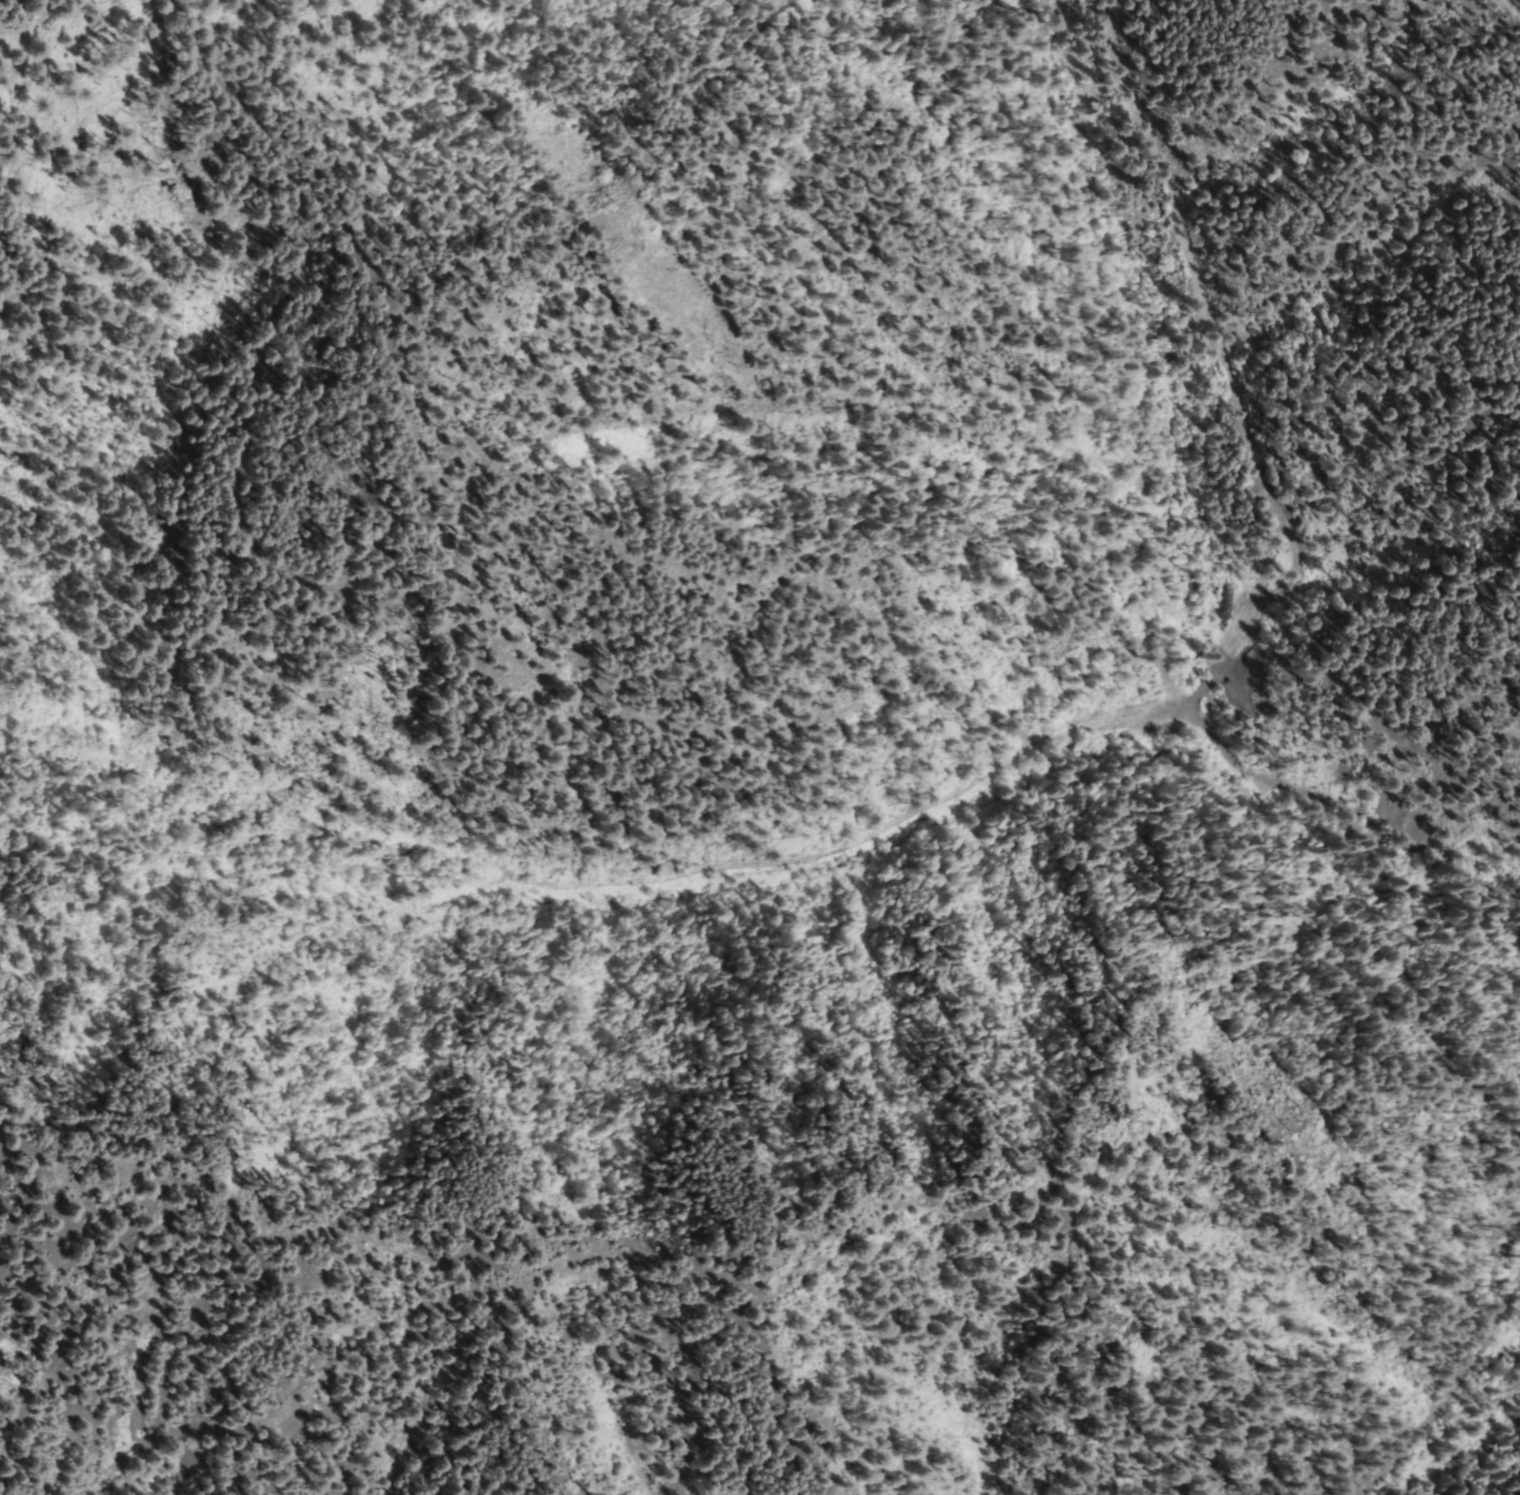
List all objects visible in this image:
road: (1451, 1393)

